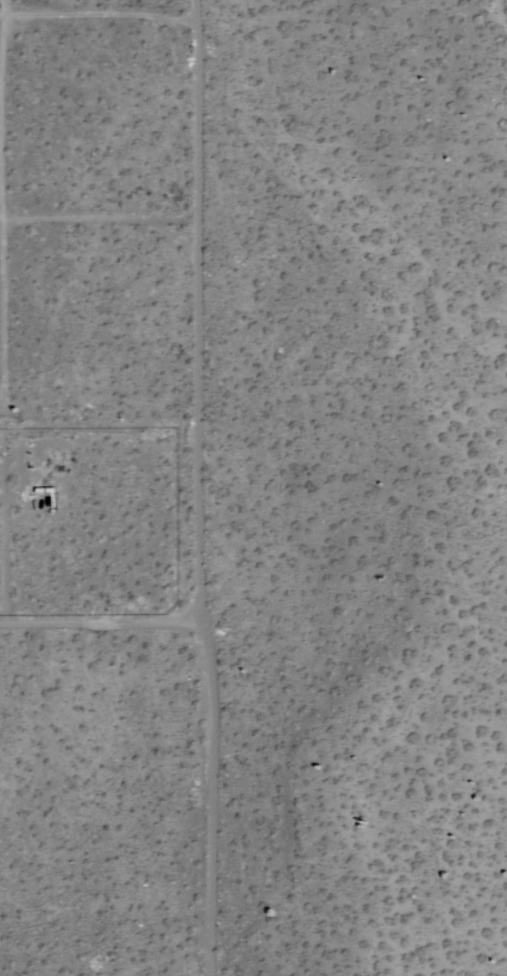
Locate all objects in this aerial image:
road: (213, 487)
road: (109, 634)

